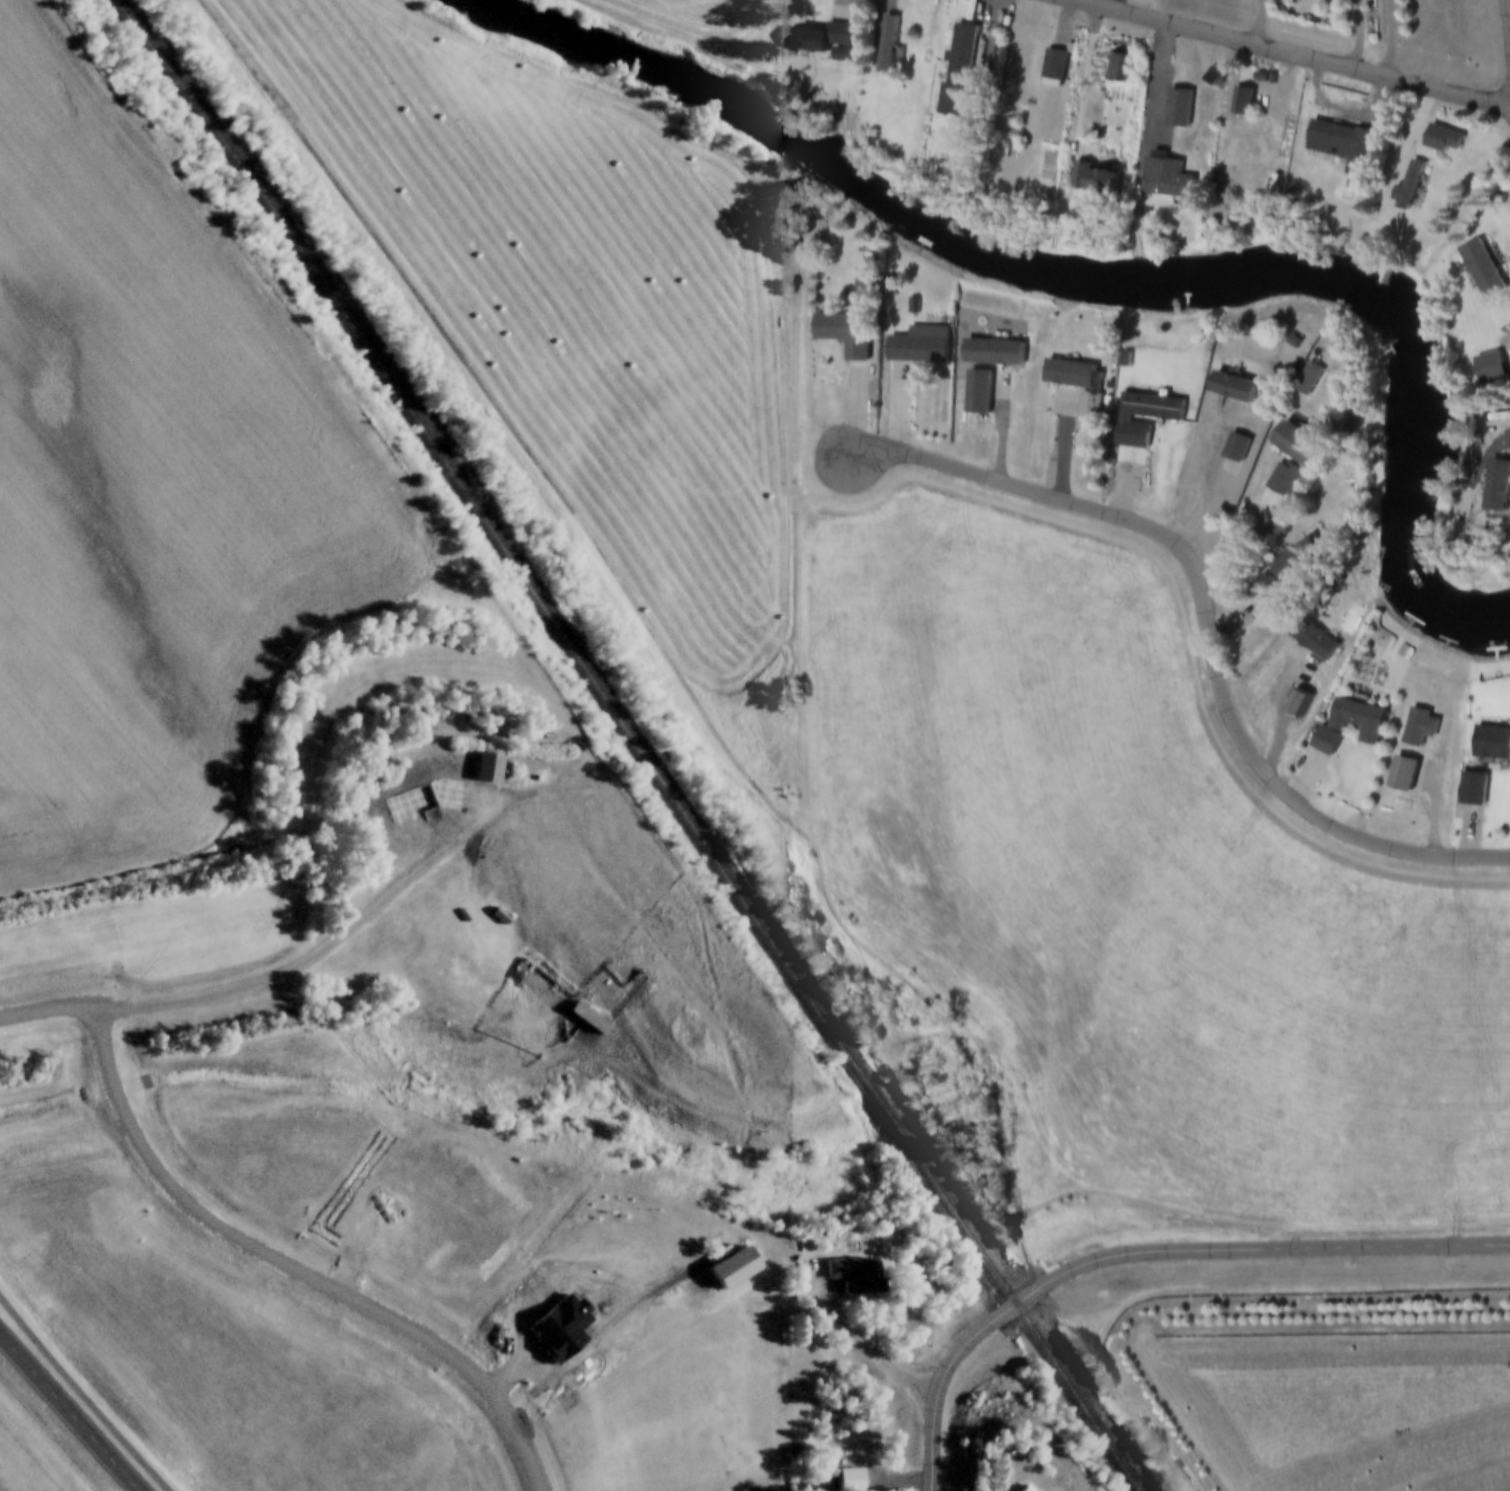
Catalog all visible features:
road: (1509, 4)
building: (970, 10)
road: (1258, 25)
road: (1360, 37)
building: (824, 39)
road: (1393, 41)
building: (886, 45)
road: (1284, 55)
building: (1034, 68)
building: (1115, 70)
building: (954, 71)
road: (1081, 97)
road: (1149, 105)
road: (1348, 109)
building: (1240, 121)
road: (1227, 126)
building: (1438, 142)
building: (1339, 147)
building: (1157, 178)
building: (1095, 183)
building: (1403, 188)
building: (1476, 271)
building: (839, 335)
building: (914, 347)
building: (1483, 369)
building: (1060, 376)
building: (1305, 381)
building: (977, 387)
building: (1228, 389)
building: (1084, 409)
building: (1140, 419)
building: (1288, 444)
building: (1232, 449)
building: (1281, 477)
building: (1222, 508)
building: (1289, 560)
road: (1208, 623)
building: (1308, 641)
building: (1293, 706)
building: (1364, 728)
building: (1415, 728)
railway: (633, 742)
building: (1488, 745)
building: (493, 768)
building: (1398, 775)
building: (1469, 790)
building: (458, 798)
road: (264, 984)
building: (593, 1018)
road: (1146, 1253)
building: (861, 1276)
road: (868, 1346)
road: (83, 1394)
road: (69, 1413)
building: (852, 1481)
building: (1020, 1489)

